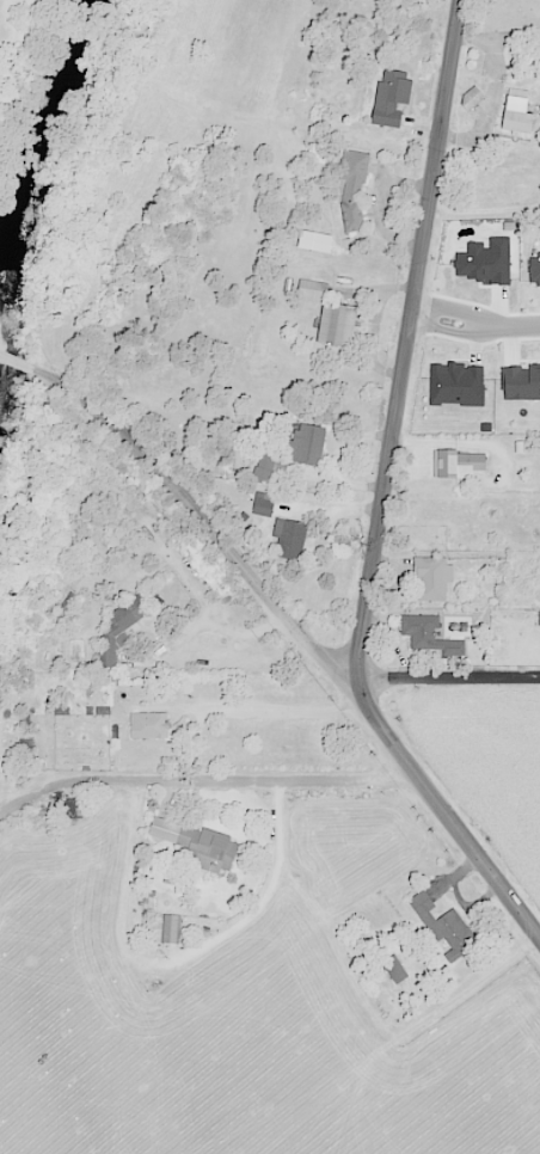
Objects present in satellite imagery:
road: (495, 92)
building: (391, 97)
building: (471, 98)
building: (515, 112)
building: (352, 191)
road: (378, 202)
river: (20, 215)
building: (329, 314)
road: (479, 320)
road: (510, 321)
road: (407, 343)
road: (25, 361)
building: (306, 443)
building: (456, 464)
building: (263, 503)
building: (288, 539)
building: (431, 577)
building: (66, 607)
building: (117, 631)
building: (428, 636)
road: (308, 640)
road: (447, 679)
road: (154, 683)
road: (69, 694)
road: (250, 710)
building: (147, 725)
road: (203, 782)
building: (207, 848)
building: (444, 926)
building: (170, 928)
road: (180, 962)
building: (394, 969)
road: (382, 1024)

